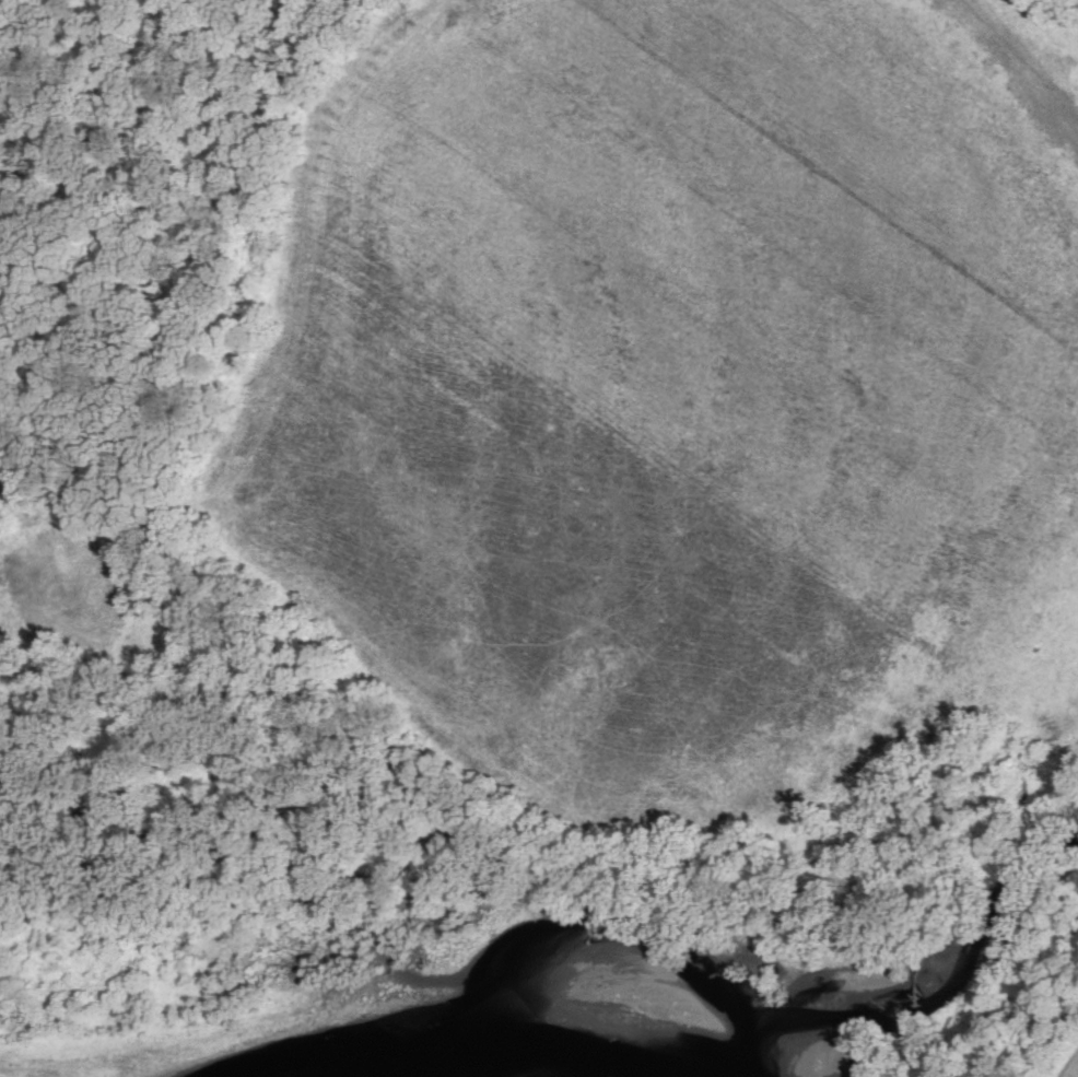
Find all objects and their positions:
river: (950, 980)
river: (577, 1005)

